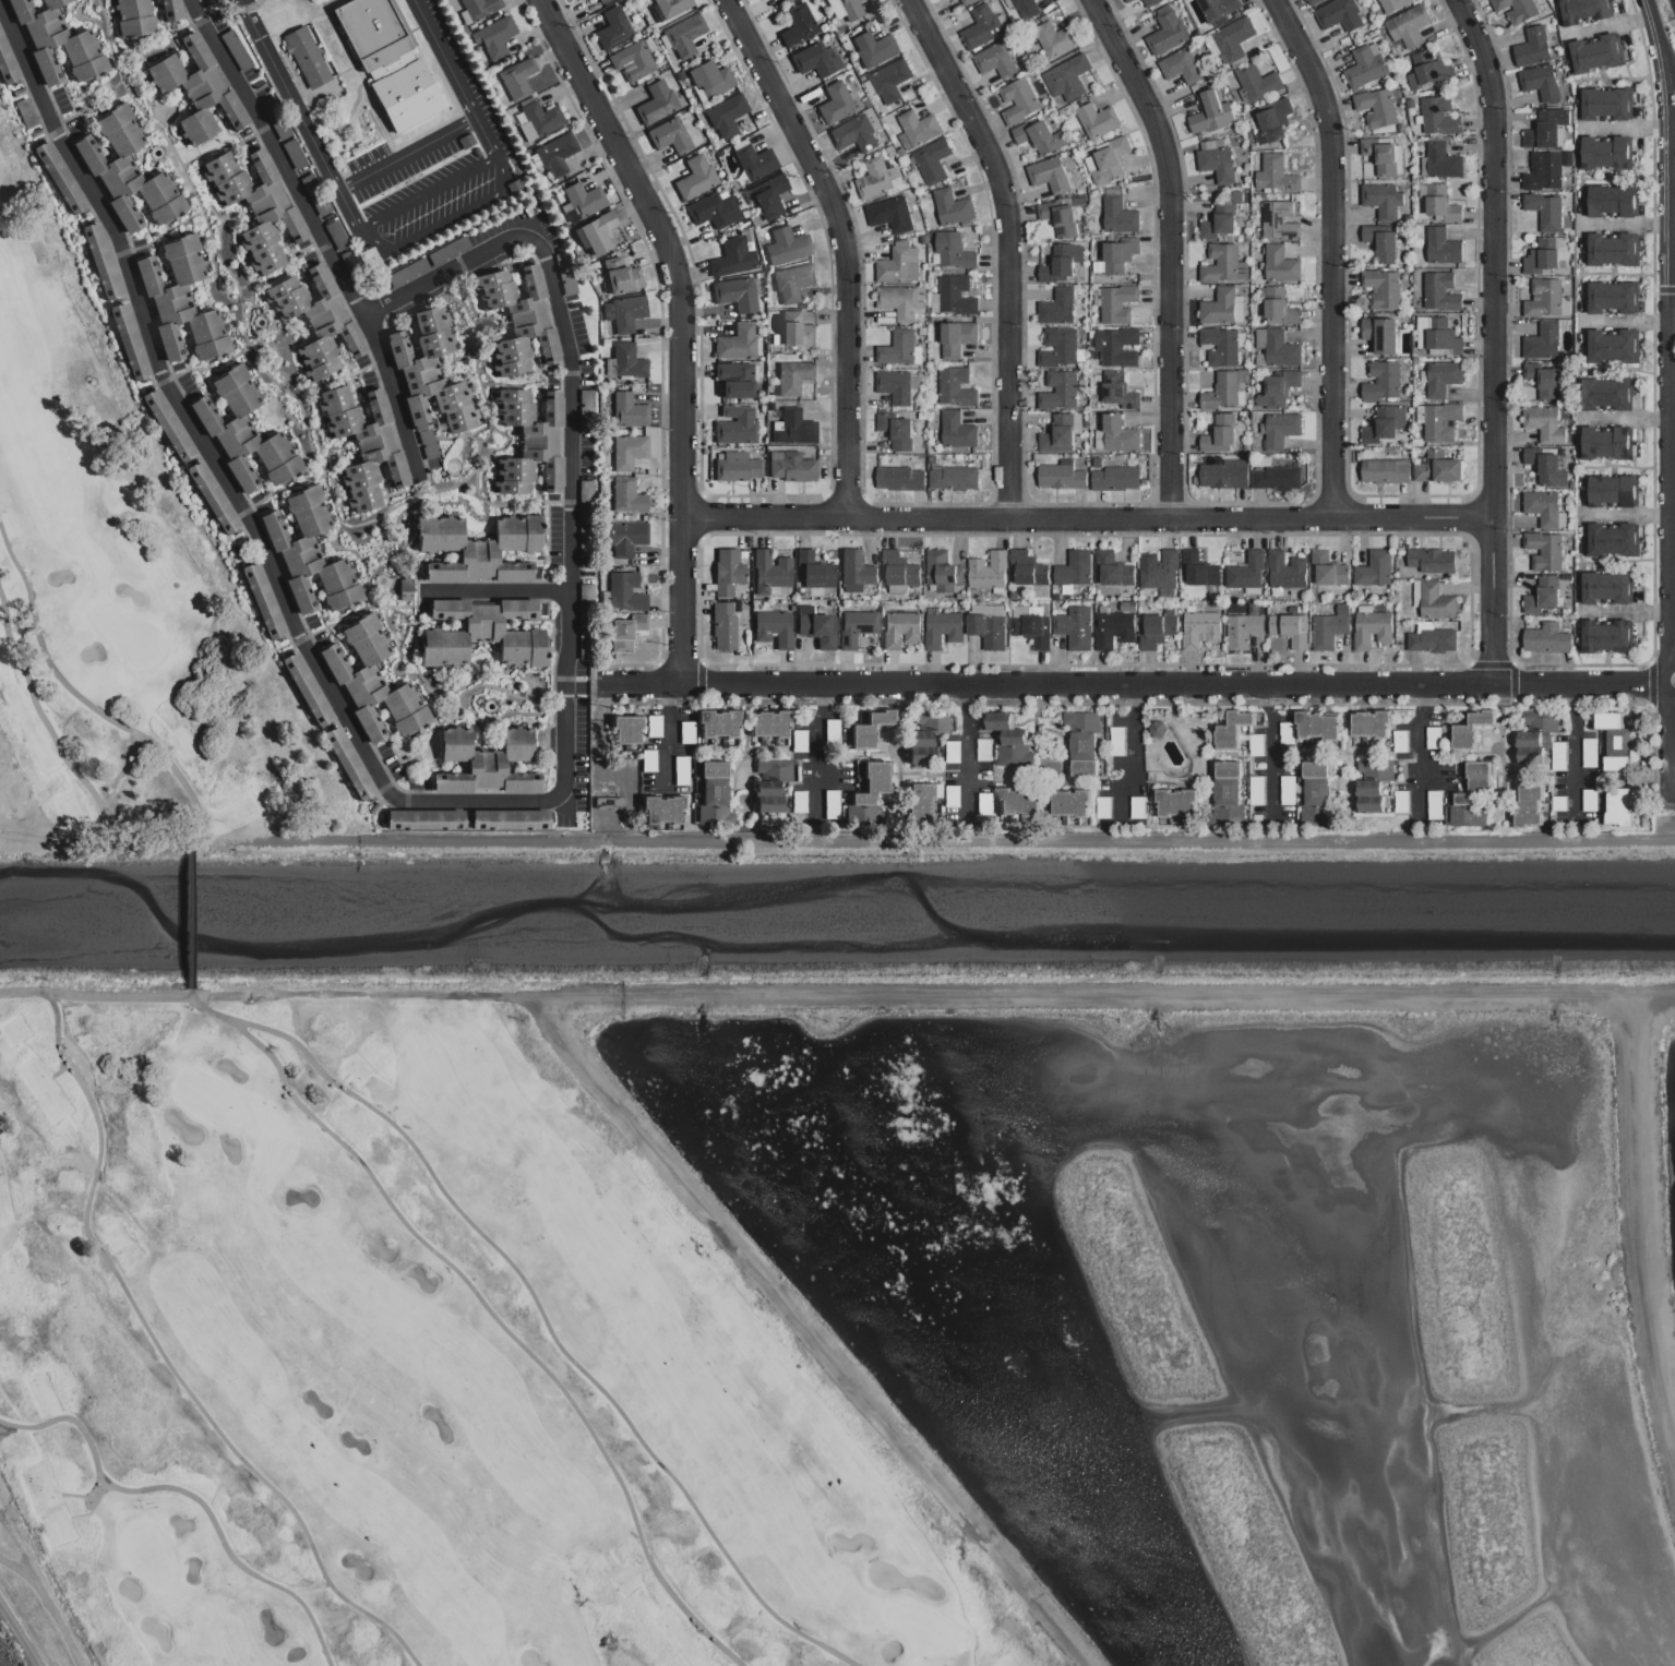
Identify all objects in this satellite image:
building: (576, 0)
building: (757, 0)
building: (785, 0)
building: (1126, 0)
building: (601, 1)
building: (965, 1)
building: (1312, 1)
building: (1149, 2)
building: (1391, 4)
building: (670, 7)
building: (1025, 8)
building: (1218, 8)
building: (478, 9)
building: (849, 9)
building: (1515, 9)
building: (171, 10)
building: (1582, 10)
building: (1338, 14)
building: (134, 19)
road: (1610, 24)
building: (797, 25)
building: (1408, 25)
building: (981, 26)
building: (612, 29)
building: (1166, 29)
road: (1656, 33)
building: (683, 35)
building: (495, 37)
building: (1054, 38)
building: (1230, 40)
building: (58, 43)
building: (1531, 47)
building: (873, 48)
building: (236, 50)
building: (1594, 52)
building: (307, 58)
building: (814, 60)
building: (994, 60)
building: (631, 61)
building: (8, 62)
building: (388, 63)
building: (1180, 65)
building: (1365, 65)
building: (1427, 70)
building: (1066, 77)
building: (517, 79)
road: (1668, 79)
building: (708, 80)
building: (889, 80)
building: (1257, 82)
building: (1539, 82)
building: (198, 92)
building: (20, 93)
building: (1017, 99)
building: (1605, 103)
building: (655, 104)
building: (834, 104)
building: (1375, 107)
road: (1673, 107)
building: (1209, 112)
building: (726, 116)
building: (1438, 116)
building: (276, 120)
building: (1097, 120)
building: (1271, 120)
building: (538, 121)
building: (917, 127)
building: (1545, 129)
building: (854, 132)
building: (37, 133)
building: (668, 136)
building: (1039, 136)
building: (467, 142)
building: (1603, 152)
building: (294, 154)
road: (404, 154)
building: (555, 154)
building: (1379, 155)
building: (753, 160)
building: (931, 160)
building: (1441, 160)
building: (1105, 161)
building: (1216, 161)
building: (1543, 170)
building: (128, 173)
building: (1275, 173)
building: (1048, 175)
building: (694, 177)
building: (876, 177)
building: (60, 178)
building: (514, 185)
road: (1671, 189)
building: (314, 192)
building: (767, 196)
building: (584, 200)
building: (1381, 200)
building: (1610, 200)
building: (1440, 203)
building: (256, 206)
building: (535, 206)
building: (952, 206)
building: (714, 209)
building: (1544, 211)
road: (390, 214)
building: (889, 214)
building: (1117, 215)
building: (1220, 215)
building: (1057, 218)
building: (1279, 220)
road: (1627, 224)
road: (319, 231)
building: (595, 233)
building: (337, 236)
road: (507, 241)
building: (1384, 242)
building: (1441, 245)
building: (787, 247)
road: (845, 248)
building: (1611, 249)
building: (953, 250)
road: (1009, 250)
road: (1171, 251)
building: (448, 252)
building: (1118, 253)
road: (1337, 253)
building: (1543, 254)
building: (731, 259)
building: (103, 261)
building: (1061, 262)
building: (351, 263)
building: (898, 263)
building: (1219, 263)
building: (1280, 264)
building: (408, 273)
building: (564, 273)
building: (619, 277)
road: (549, 280)
building: (791, 283)
road: (1674, 284)
road: (419, 287)
building: (1380, 287)
building: (1439, 291)
building: (735, 293)
building: (956, 295)
building: (1610, 297)
building: (1544, 298)
building: (900, 300)
building: (181, 302)
building: (1117, 303)
building: (1056, 307)
building: (1222, 307)
building: (1279, 307)
building: (624, 314)
building: (518, 320)
building: (318, 321)
road: (1627, 322)
road: (683, 325)
building: (795, 331)
building: (1380, 334)
building: (1437, 336)
building: (956, 337)
road: (1491, 337)
road: (1672, 338)
building: (1542, 340)
building: (130, 341)
building: (735, 343)
building: (1115, 346)
building: (1220, 346)
building: (1611, 346)
building: (897, 347)
building: (1057, 347)
building: (1277, 347)
road: (567, 350)
building: (626, 361)
building: (430, 374)
building: (793, 377)
building: (1380, 380)
building: (733, 381)
building: (1542, 381)
building: (896, 385)
building: (955, 386)
building: (1277, 388)
building: (1057, 389)
building: (1117, 389)
building: (1221, 391)
building: (1606, 393)
road: (570, 411)
building: (626, 411)
building: (1440, 421)
building: (1383, 423)
building: (1543, 423)
building: (168, 424)
building: (734, 426)
building: (793, 429)
building: (896, 430)
building: (956, 430)
building: (1280, 430)
building: (1220, 431)
building: (244, 432)
building: (1057, 434)
building: (1115, 434)
building: (529, 442)
building: (1605, 442)
building: (364, 445)
building: (429, 445)
building: (626, 452)
road: (569, 458)
building: (1545, 466)
building: (737, 467)
building: (790, 467)
building: (1437, 467)
building: (1384, 470)
building: (1223, 474)
building: (1060, 476)
building: (953, 477)
building: (1276, 477)
building: (899, 478)
building: (1114, 478)
road: (224, 479)
building: (1611, 490)
building: (214, 496)
building: (626, 496)
building: (1542, 506)
road: (1085, 522)
building: (624, 538)
road: (569, 539)
building: (1611, 539)
building: (478, 549)
building: (1543, 550)
building: (309, 555)
building: (1431, 560)
building: (1074, 567)
building: (1028, 568)
building: (1113, 568)
building: (1158, 568)
building: (1199, 568)
building: (1327, 568)
building: (1373, 568)
building: (988, 570)
building: (1285, 570)
building: (814, 571)
building: (854, 571)
building: (942, 571)
building: (1245, 571)
building: (727, 572)
building: (769, 572)
building: (899, 572)
building: (1603, 587)
building: (405, 589)
building: (625, 592)
road: (495, 595)
building: (1542, 595)
road: (1671, 597)
building: (262, 600)
building: (1435, 601)
building: (722, 626)
building: (1030, 626)
building: (1371, 626)
road: (567, 627)
building: (815, 627)
building: (854, 627)
building: (1075, 627)
building: (1243, 627)
building: (1329, 627)
building: (773, 628)
building: (899, 628)
building: (942, 628)
building: (1113, 628)
building: (1157, 628)
building: (1199, 628)
building: (1289, 628)
building: (988, 630)
building: (625, 632)
building: (481, 633)
building: (1604, 635)
building: (1431, 638)
building: (1546, 638)
park: (156, 640)
building: (372, 683)
road: (1138, 684)
building: (306, 690)
building: (1369, 722)
building: (717, 723)
building: (768, 723)
building: (1317, 726)
building: (1157, 728)
building: (869, 729)
building: (1232, 729)
building: (1470, 729)
building: (625, 730)
road: (565, 735)
building: (924, 735)
building: (1432, 736)
road: (667, 739)
building: (1009, 740)
building: (1398, 740)
building: (1116, 741)
building: (1082, 742)
building: (1607, 744)
building: (982, 748)
road: (1416, 751)
road: (965, 752)
road: (818, 753)
road: (1267, 753)
road: (1572, 754)
road: (1133, 759)
building: (348, 763)
building: (486, 763)
building: (873, 782)
building: (1227, 783)
building: (1372, 783)
building: (769, 784)
building: (1256, 790)
building: (1314, 792)
building: (713, 796)
building: (1470, 796)
building: (1176, 800)
building: (920, 802)
building: (1017, 802)
building: (1070, 802)
building: (1527, 804)
building: (1610, 805)
building: (1136, 806)
building: (830, 807)
building: (661, 811)
building: (865, 814)
building: (423, 819)
building: (509, 819)
road: (190, 919)
park: (211, 1100)
park: (420, 1354)
park: (147, 1553)
road: (16, 1565)
road: (41, 1590)
park: (920, 1629)
road: (17, 1637)

